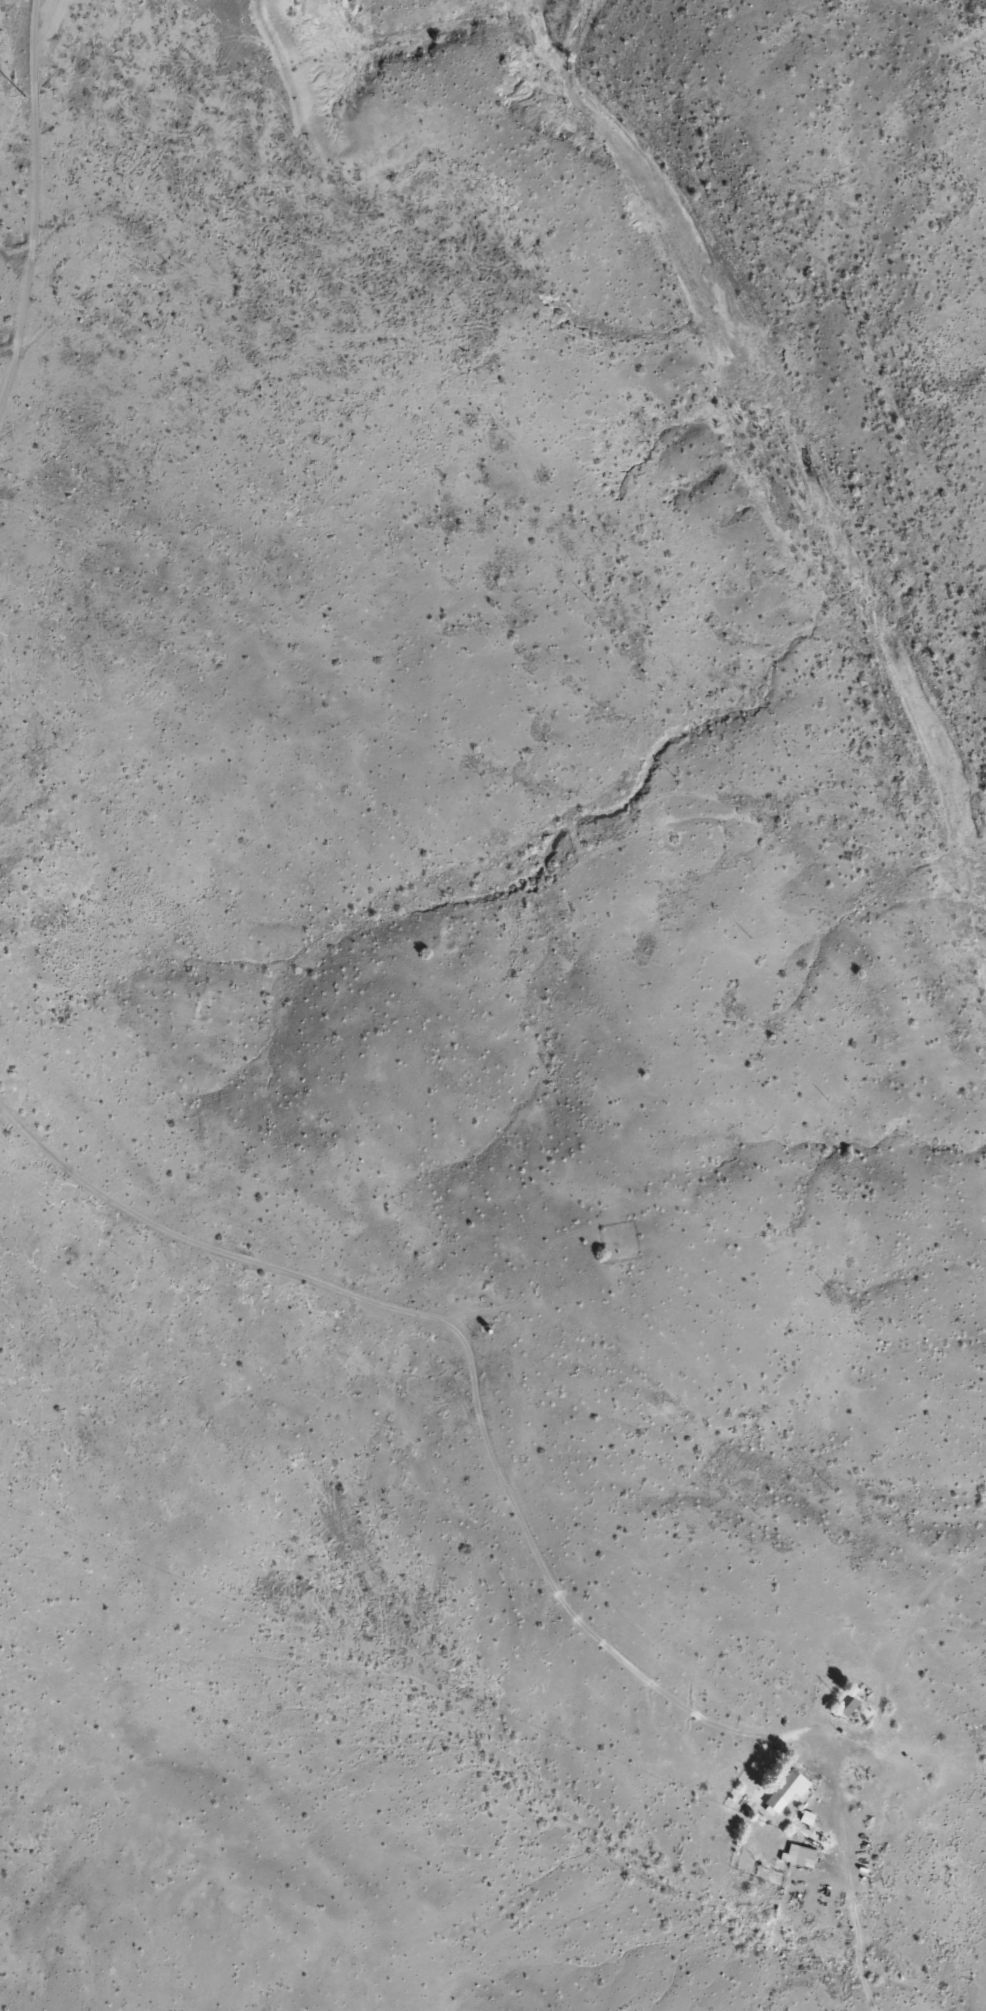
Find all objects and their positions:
power tower: (23, 95)
road: (63, 216)
building: (850, 1708)
building: (785, 1792)
building: (798, 1855)

